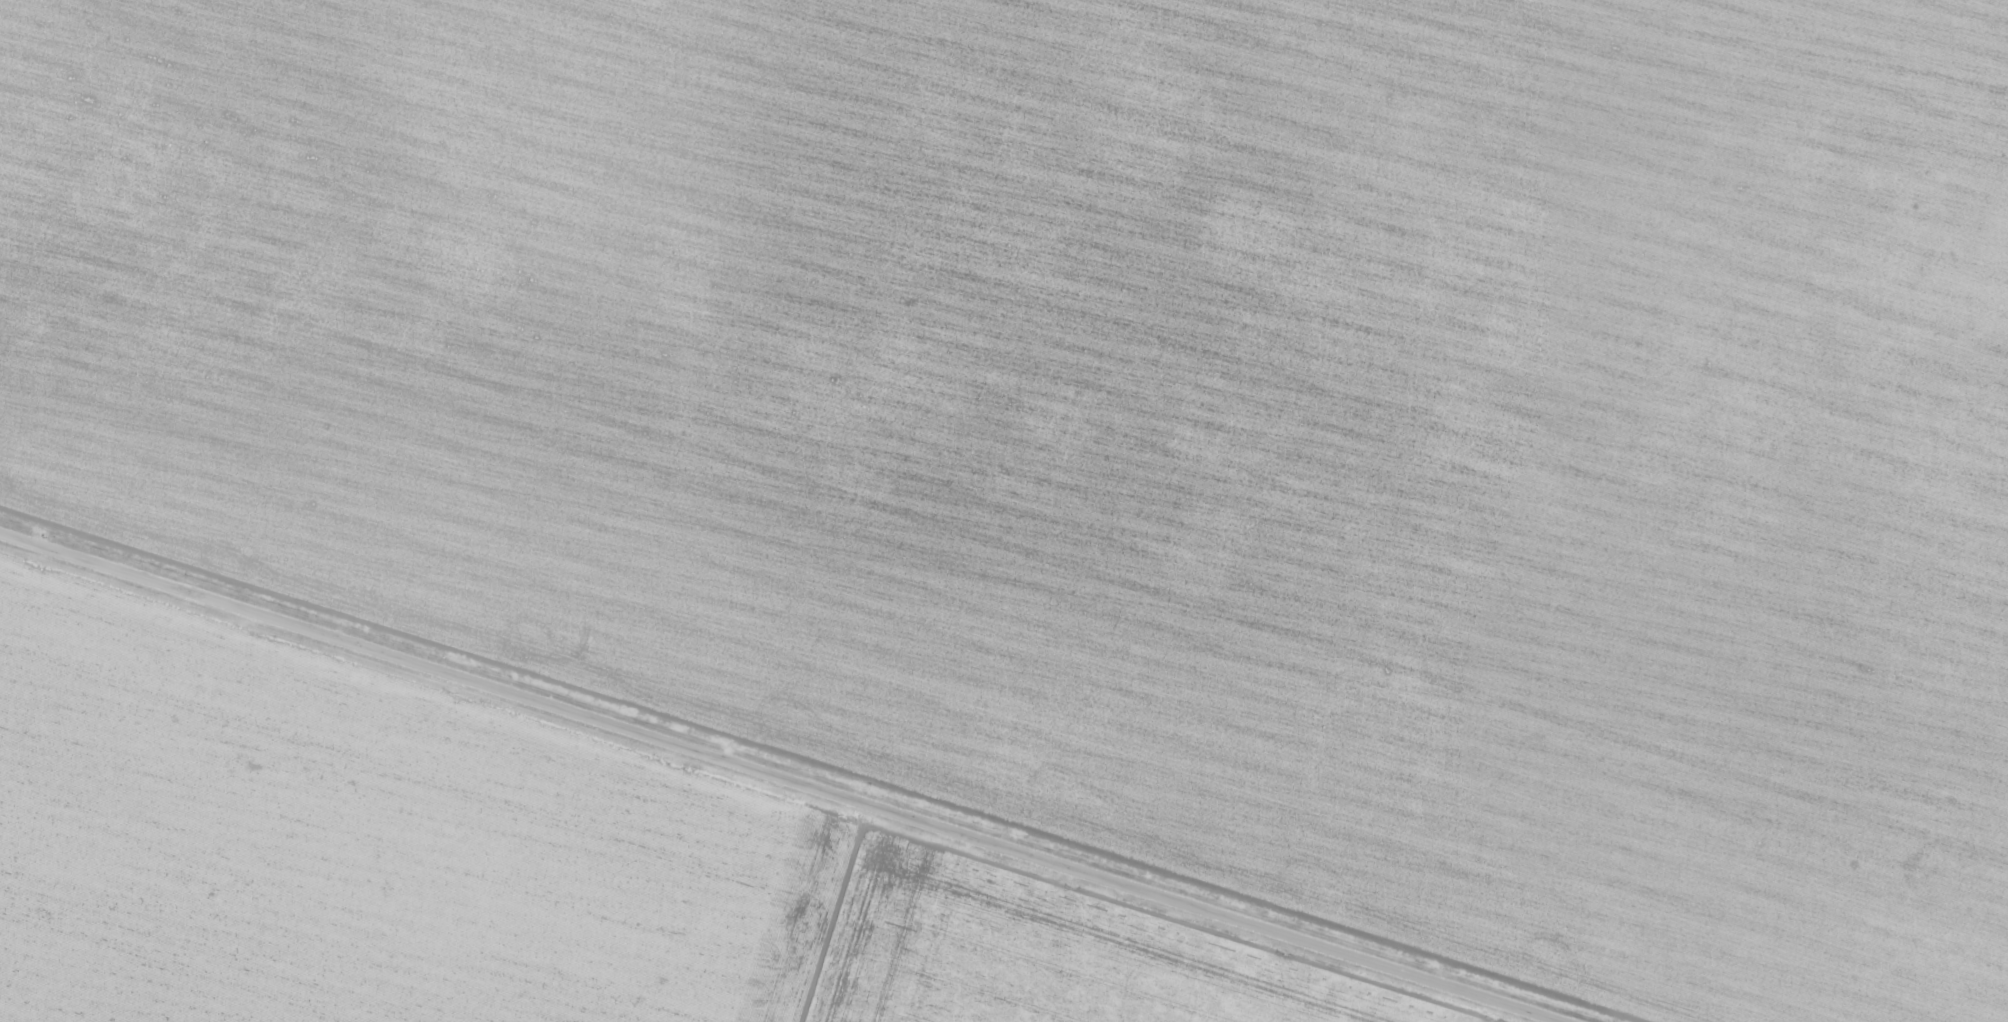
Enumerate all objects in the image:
road: (787, 777)

